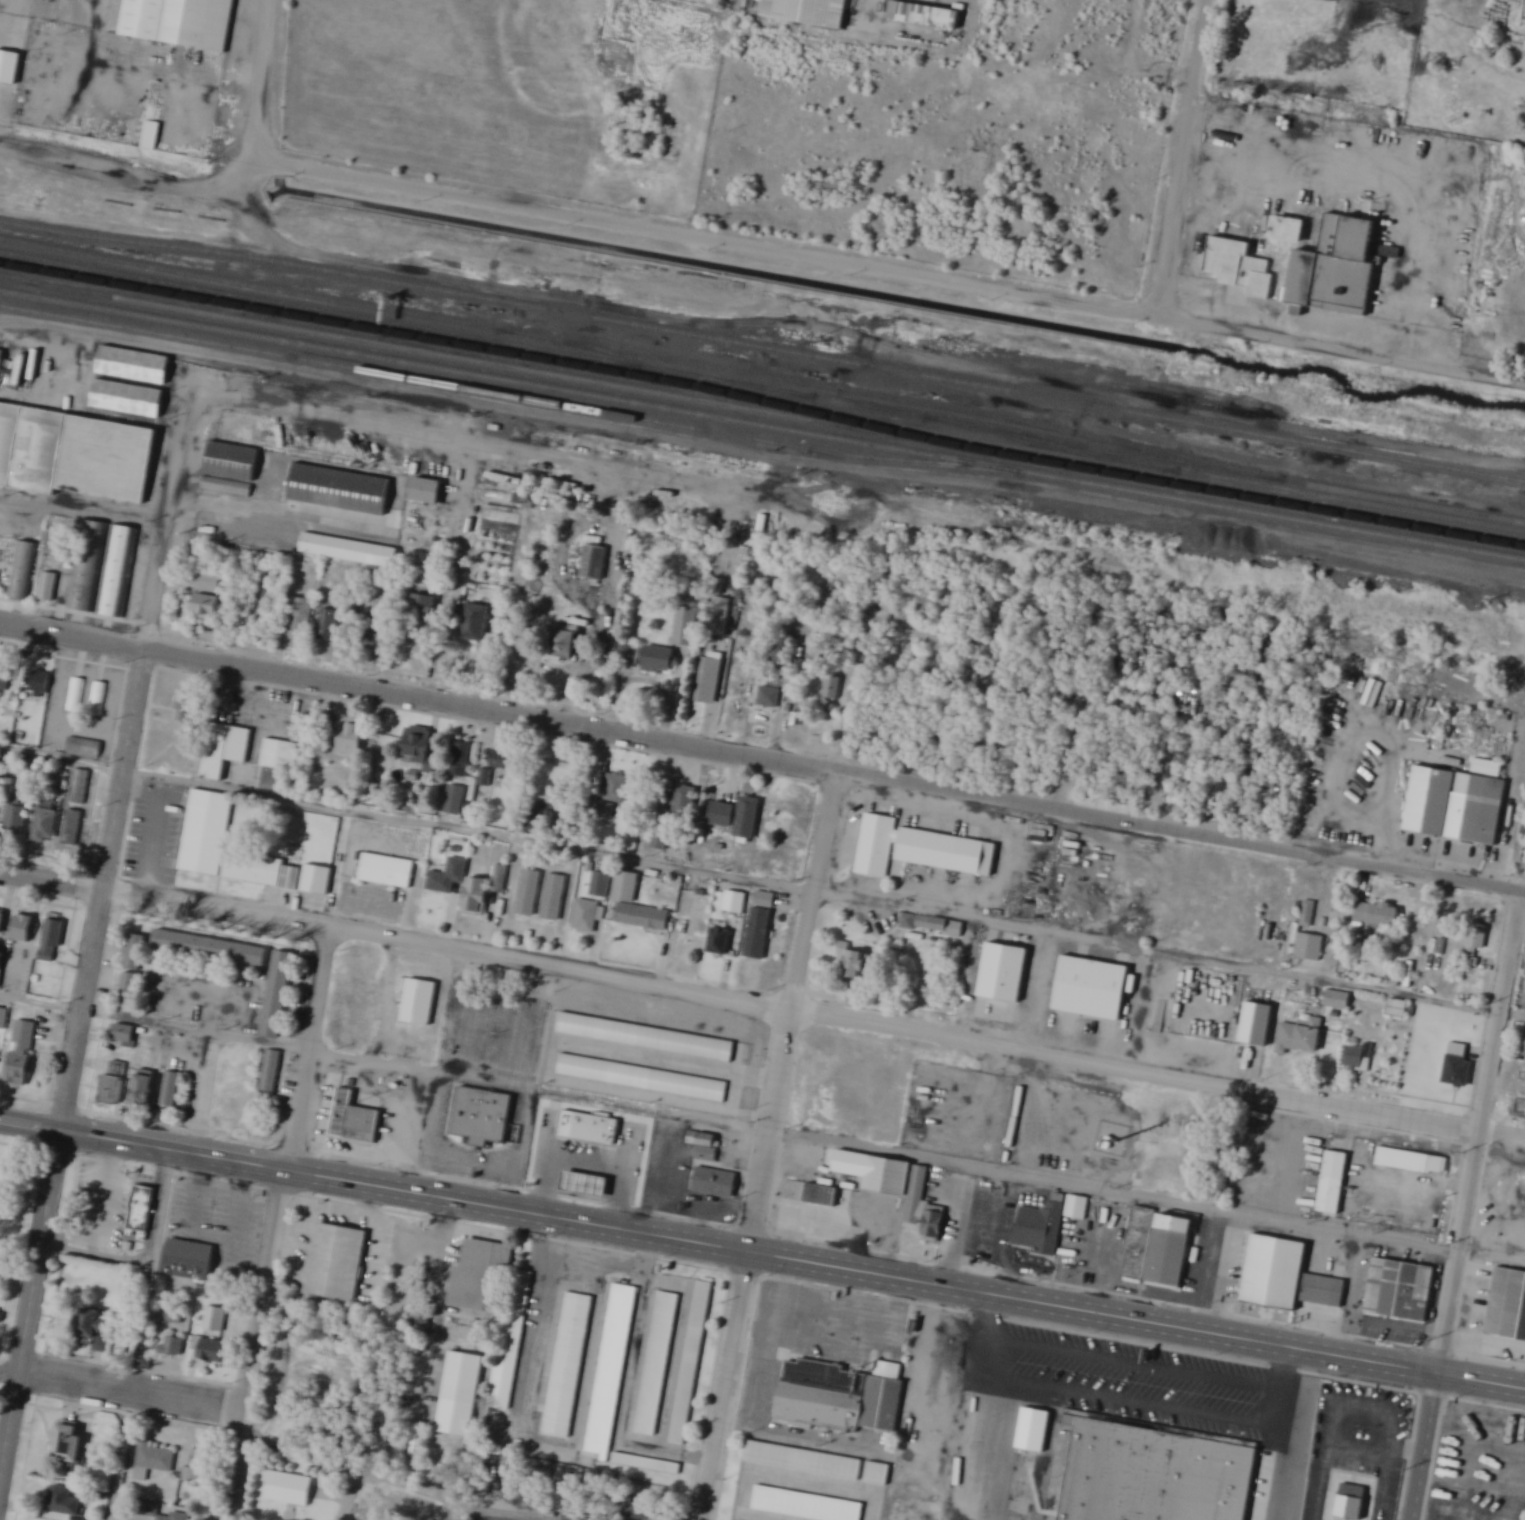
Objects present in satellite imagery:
building: (809, 11)
building: (925, 16)
building: (180, 22)
building: (9, 68)
road: (264, 77)
building: (151, 136)
road: (1183, 158)
road: (131, 171)
building: (1289, 229)
building: (1340, 267)
road: (889, 268)
building: (1241, 268)
railway: (120, 292)
road: (105, 336)
railway: (763, 348)
railway: (603, 350)
railway: (517, 352)
building: (2, 361)
building: (134, 366)
railway: (664, 367)
railway: (762, 390)
railway: (491, 393)
building: (128, 399)
railway: (762, 400)
railway: (762, 413)
railway: (841, 421)
railway: (762, 426)
railway: (1061, 448)
building: (73, 453)
building: (231, 460)
building: (339, 488)
building: (426, 490)
building: (350, 550)
building: (594, 562)
building: (85, 565)
building: (21, 569)
building: (116, 569)
building: (208, 582)
building: (47, 587)
building: (423, 614)
building: (298, 615)
building: (475, 622)
building: (330, 625)
building: (686, 626)
building: (566, 644)
building: (633, 655)
building: (660, 659)
building: (5, 677)
building: (709, 680)
building: (40, 683)
building: (833, 687)
building: (75, 695)
building: (769, 698)
building: (97, 699)
building: (351, 736)
building: (82, 747)
building: (420, 748)
building: (225, 749)
road: (128, 753)
building: (460, 759)
road: (762, 759)
building: (278, 762)
road: (1069, 764)
building: (2, 769)
building: (412, 776)
building: (484, 778)
building: (1127, 780)
building: (79, 787)
building: (617, 789)
building: (1180, 789)
building: (1215, 796)
building: (454, 799)
building: (684, 800)
building: (1429, 800)
building: (1484, 801)
road: (1392, 809)
building: (544, 813)
building: (739, 817)
building: (15, 820)
building: (46, 826)
building: (72, 828)
building: (206, 833)
building: (877, 840)
building: (943, 850)
building: (386, 871)
building: (448, 877)
building: (291, 878)
building: (316, 879)
building: (499, 881)
road: (762, 884)
building: (626, 887)
building: (528, 892)
building: (554, 897)
building: (476, 898)
building: (765, 900)
building: (1378, 914)
building: (586, 915)
building: (1, 922)
building: (932, 925)
building: (23, 929)
building: (758, 934)
building: (1308, 935)
building: (1476, 940)
building: (52, 941)
building: (720, 942)
building: (211, 949)
building: (135, 952)
building: (1, 963)
building: (854, 964)
building: (1002, 972)
building: (130, 985)
building: (1090, 987)
building: (277, 993)
building: (1337, 999)
building: (420, 1002)
road: (762, 1004)
building: (1396, 1009)
building: (3, 1018)
road: (155, 1020)
building: (1256, 1022)
building: (123, 1033)
building: (1300, 1036)
building: (646, 1037)
building: (21, 1053)
building: (1524, 1055)
building: (1358, 1058)
road: (783, 1069)
building: (270, 1072)
road: (491, 1072)
building: (1458, 1072)
building: (642, 1077)
building: (114, 1081)
building: (145, 1088)
building: (171, 1089)
building: (484, 1117)
building: (354, 1120)
building: (595, 1129)
building: (704, 1145)
road: (143, 1148)
building: (1414, 1162)
building: (888, 1175)
building: (713, 1181)
building: (1332, 1182)
building: (587, 1185)
building: (822, 1195)
road: (1114, 1195)
road: (1464, 1205)
building: (1077, 1208)
building: (141, 1212)
road: (1235, 1214)
road: (277, 1221)
park: (15, 1224)
road: (958, 1229)
building: (1040, 1229)
building: (1138, 1241)
road: (1100, 1254)
building: (189, 1260)
building: (336, 1263)
building: (1274, 1271)
building: (480, 1275)
road: (906, 1280)
building: (1400, 1289)
building: (1323, 1290)
building: (1506, 1304)
road: (29, 1310)
building: (174, 1316)
building: (419, 1325)
building: (96, 1329)
road: (143, 1336)
building: (511, 1345)
building: (172, 1347)
building: (213, 1351)
building: (657, 1362)
building: (692, 1362)
building: (566, 1364)
building: (610, 1369)
building: (462, 1378)
road: (9, 1381)
road: (131, 1387)
road: (1128, 1399)
building: (883, 1401)
building: (1033, 1430)
road: (548, 1439)
building: (70, 1445)
road: (992, 1447)
building: (801, 1459)
building: (152, 1461)
building: (646, 1463)
building: (200, 1464)
building: (877, 1473)
building: (1156, 1476)
road: (421, 1481)
building: (287, 1489)
building: (1351, 1500)
building: (62, 1504)
building: (803, 1505)
building: (639, 1512)
building: (160, 1513)

